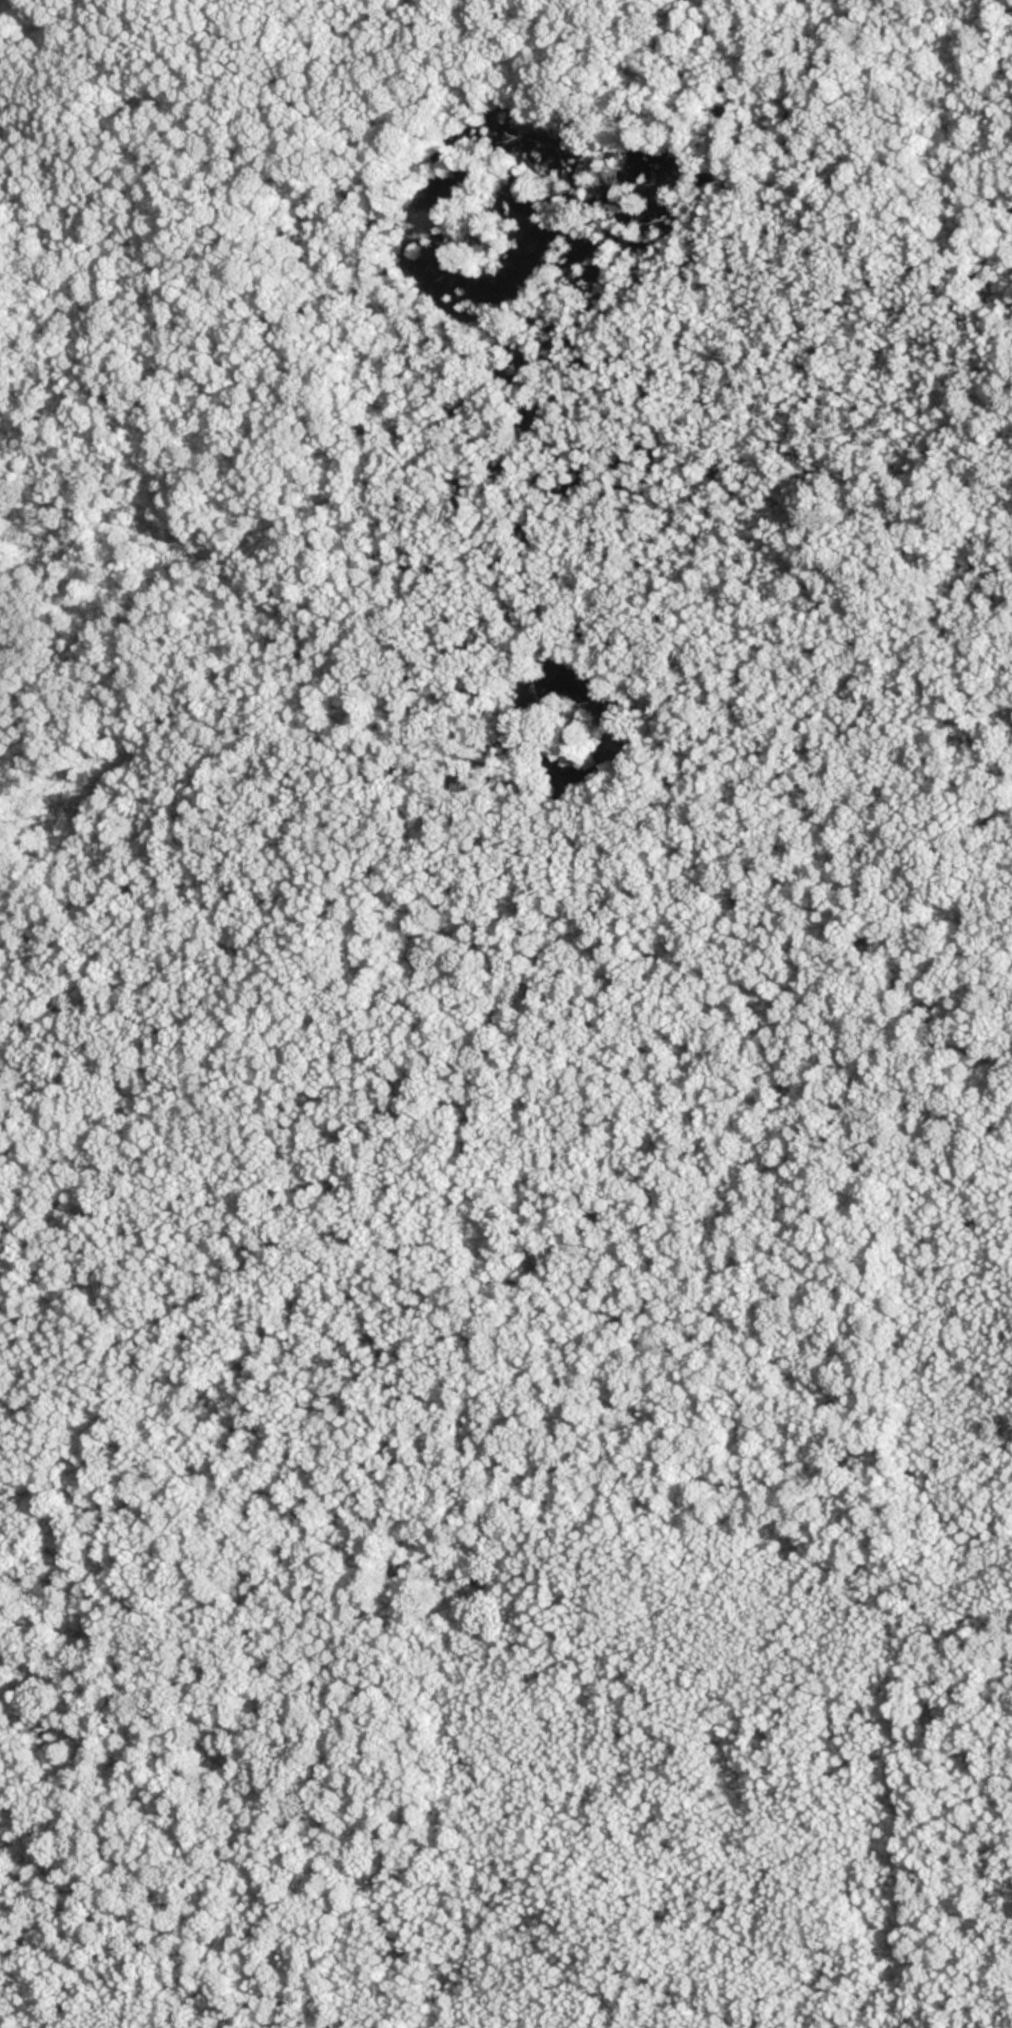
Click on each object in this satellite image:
park: (506, 1014)

